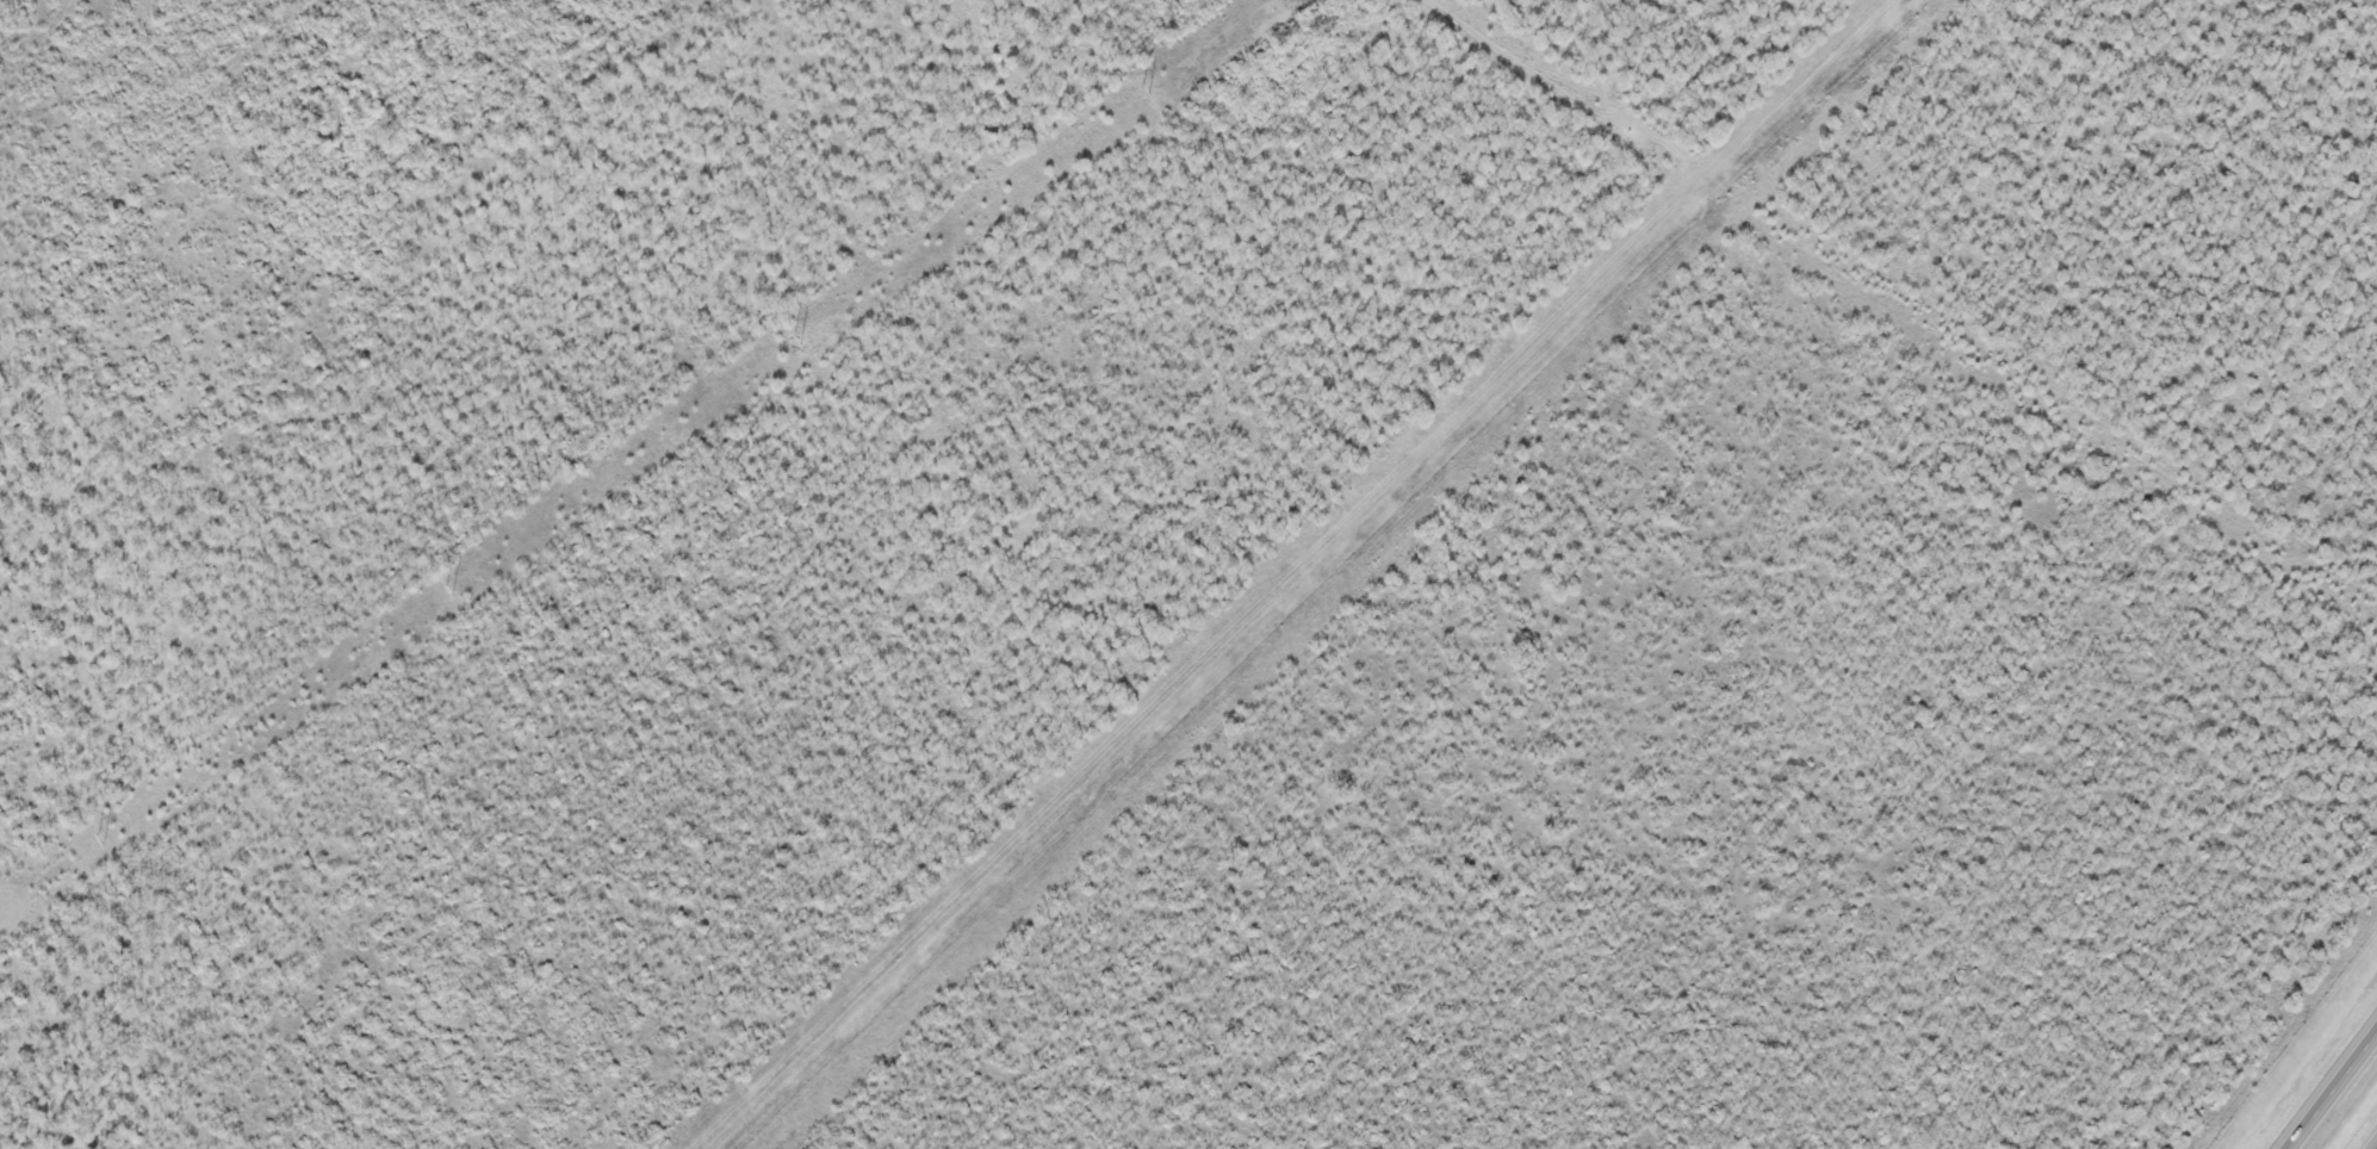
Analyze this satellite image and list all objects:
power tower: (1147, 88)
power tower: (797, 339)
power tower: (449, 588)
power tower: (101, 837)
road: (2336, 1095)

